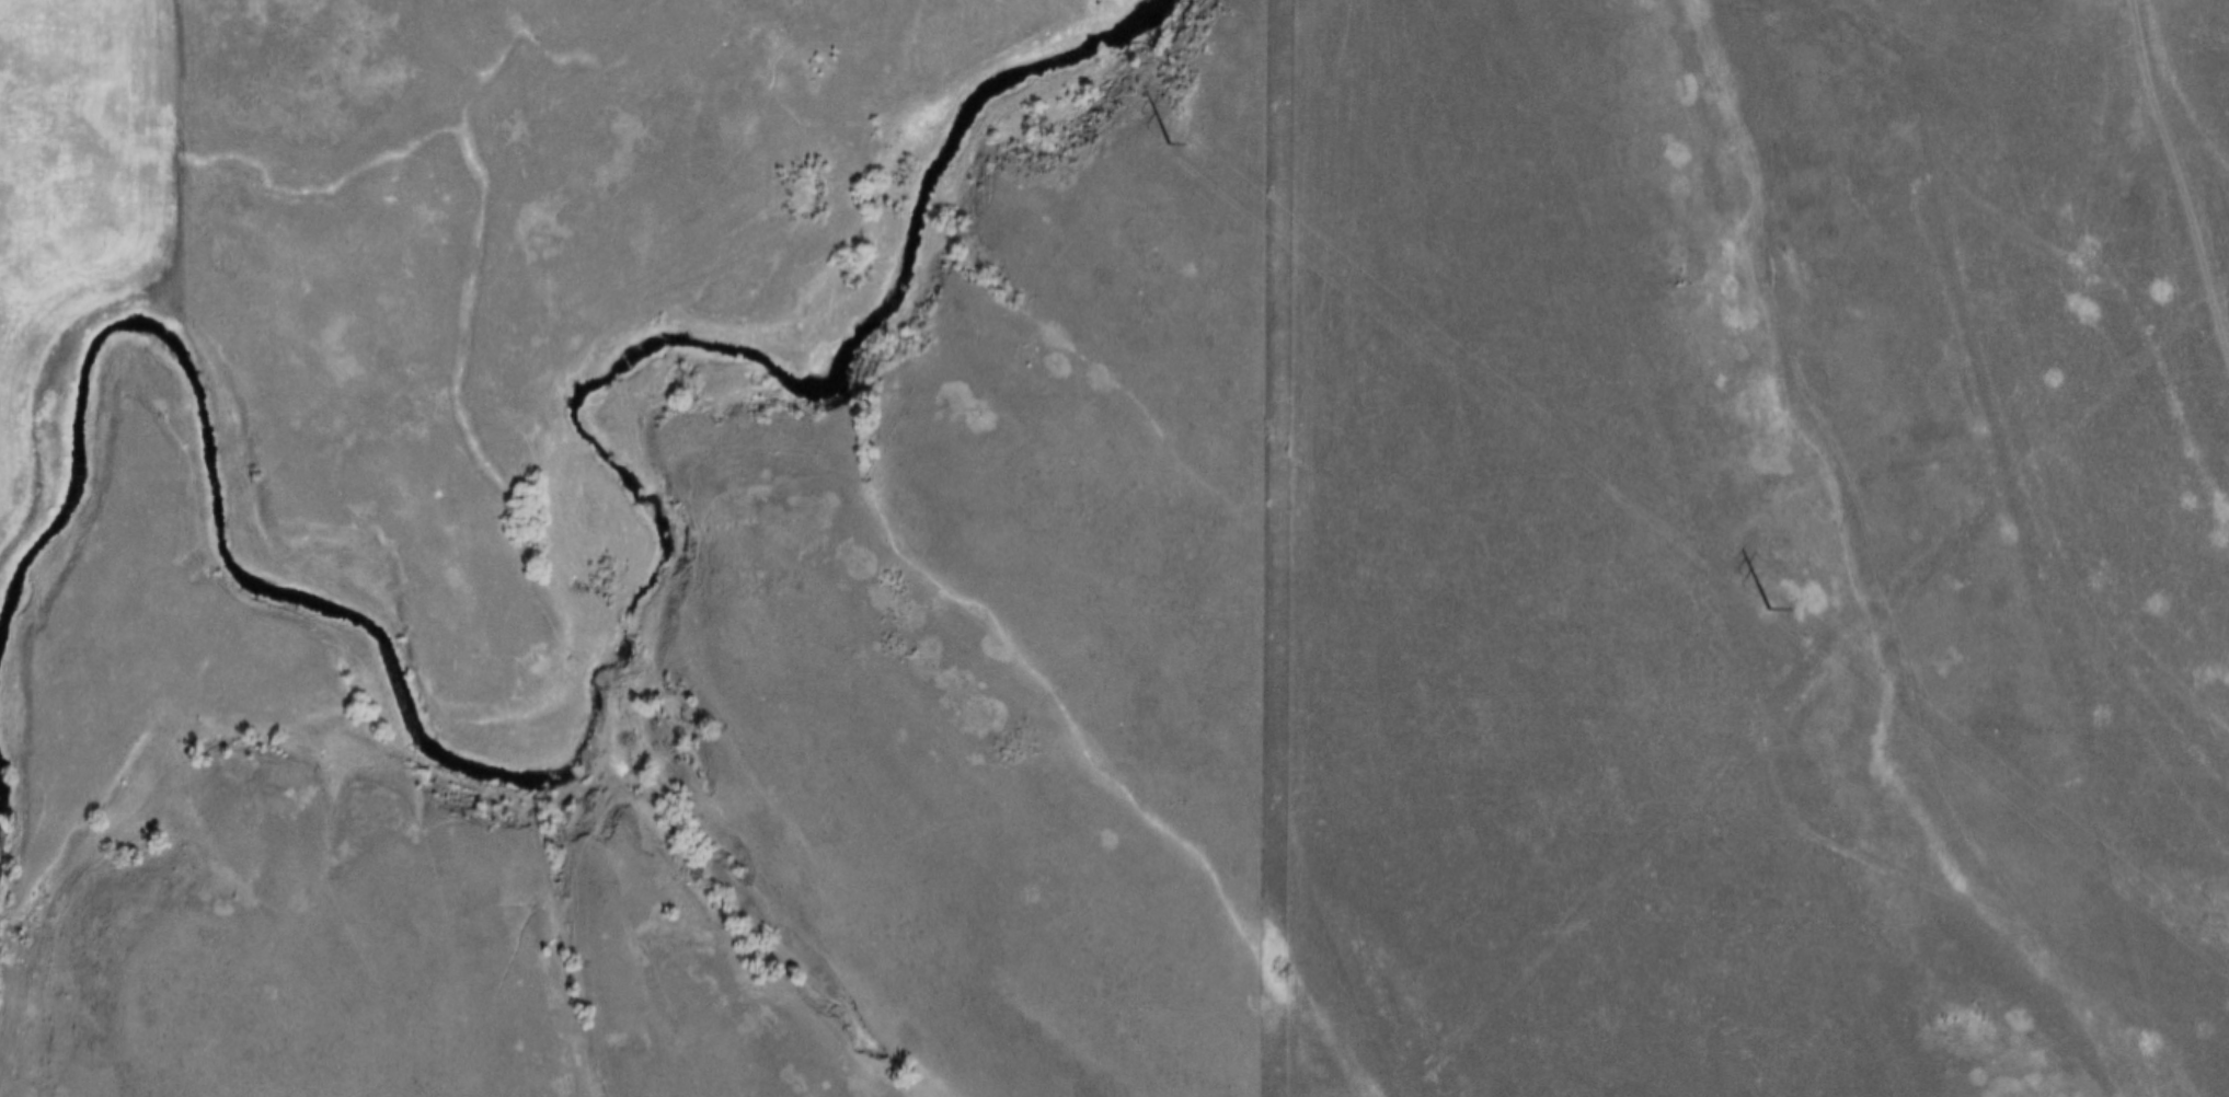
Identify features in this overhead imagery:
road: (2185, 111)
power tower: (1168, 141)
power tower: (1768, 607)

